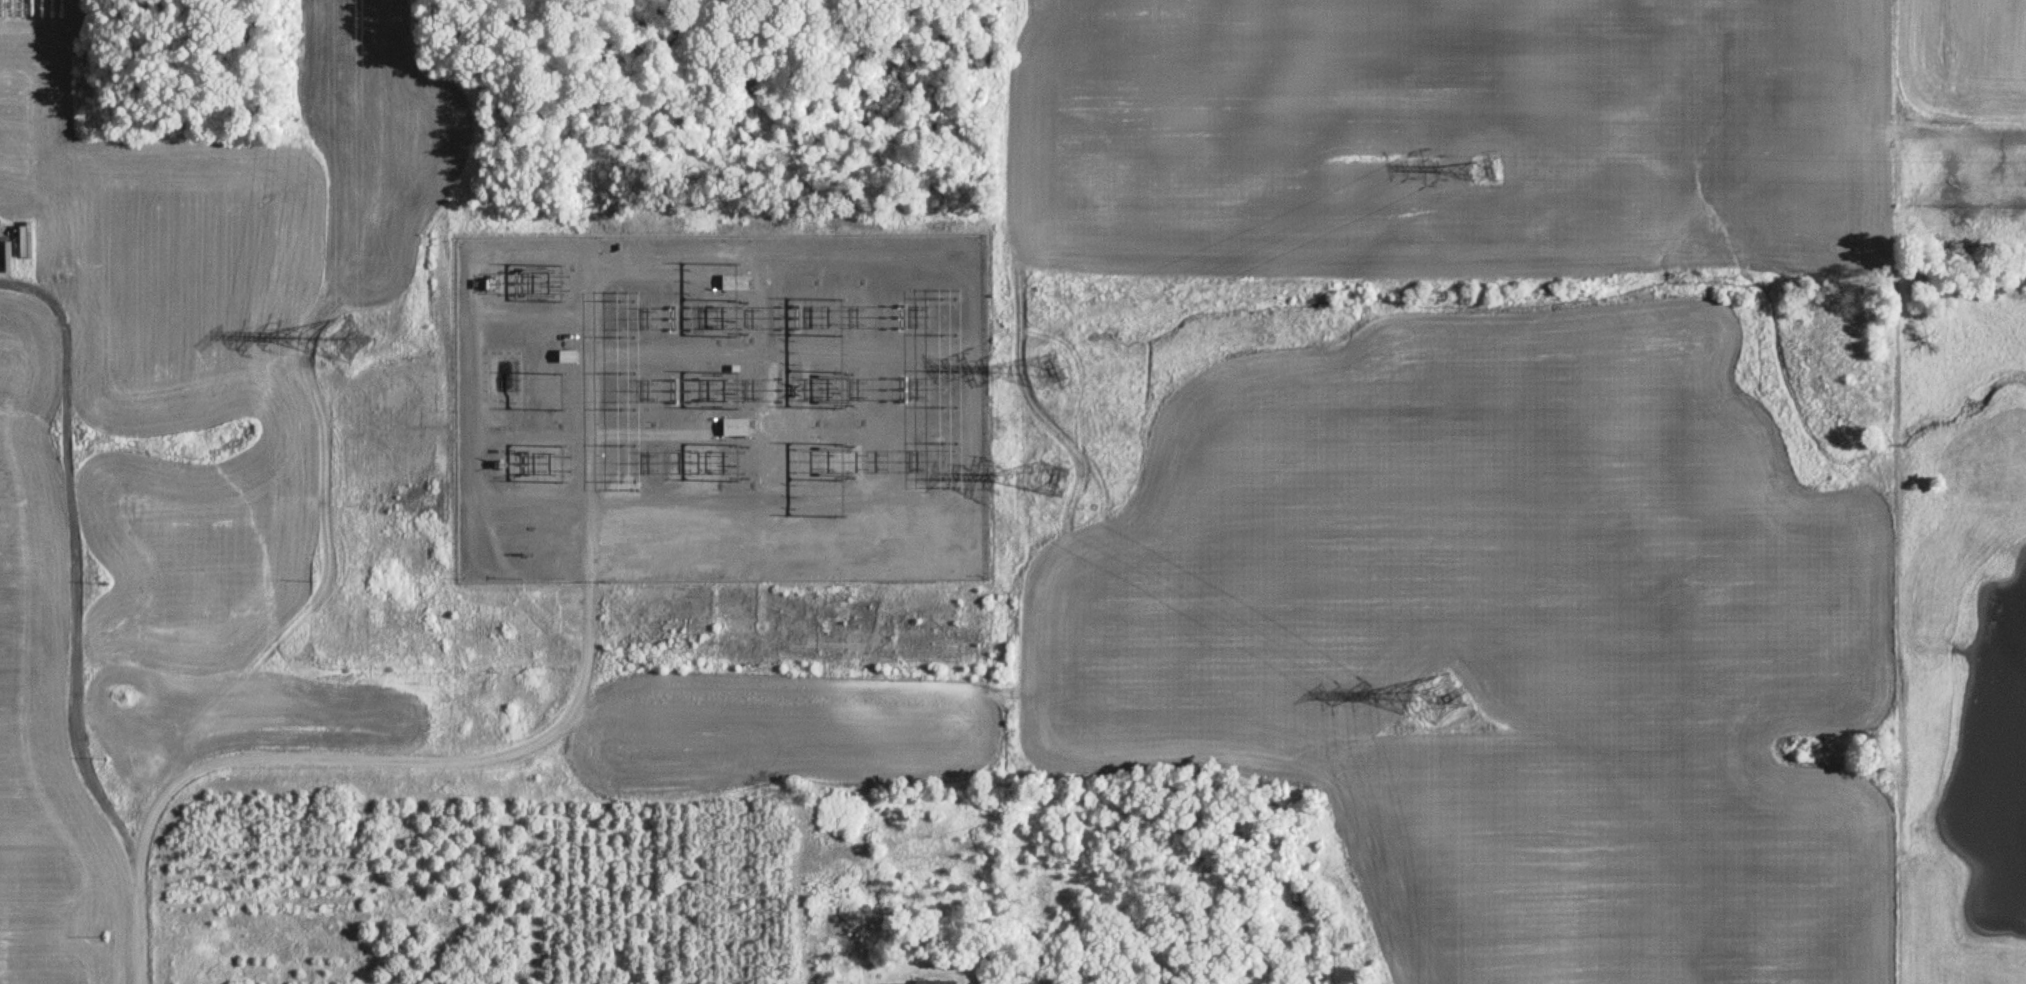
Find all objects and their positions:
power tower: (1478, 153)
road: (573, 250)
road: (690, 251)
building: (734, 280)
road: (532, 318)
power tower: (358, 348)
road: (781, 353)
building: (570, 355)
power tower: (1056, 369)
power substation: (719, 404)
road: (971, 413)
building: (736, 425)
road: (588, 427)
power tower: (1058, 480)
road: (759, 497)
road: (74, 557)
road: (579, 618)
power tower: (1437, 688)
road: (340, 757)
building: (935, 982)
building: (1019, 982)

